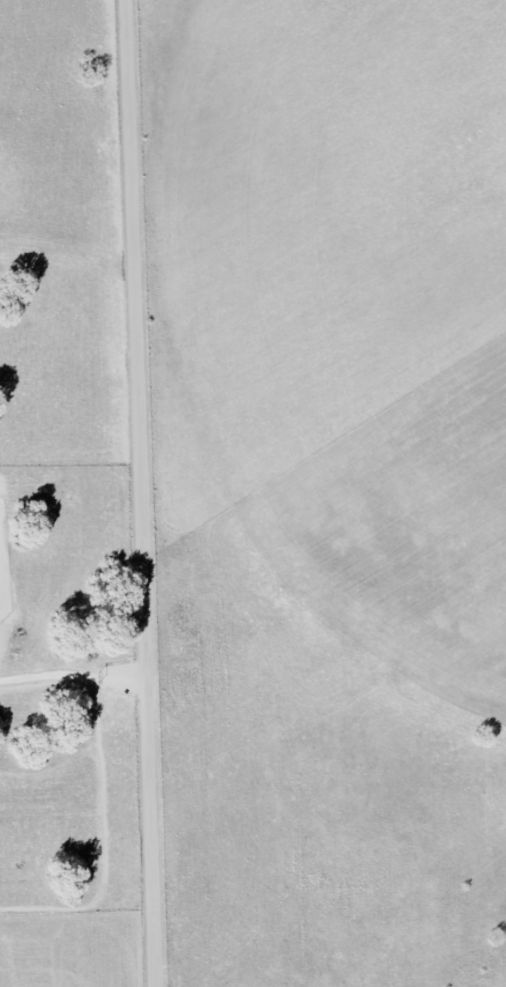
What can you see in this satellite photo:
road: (146, 493)
road: (76, 676)

